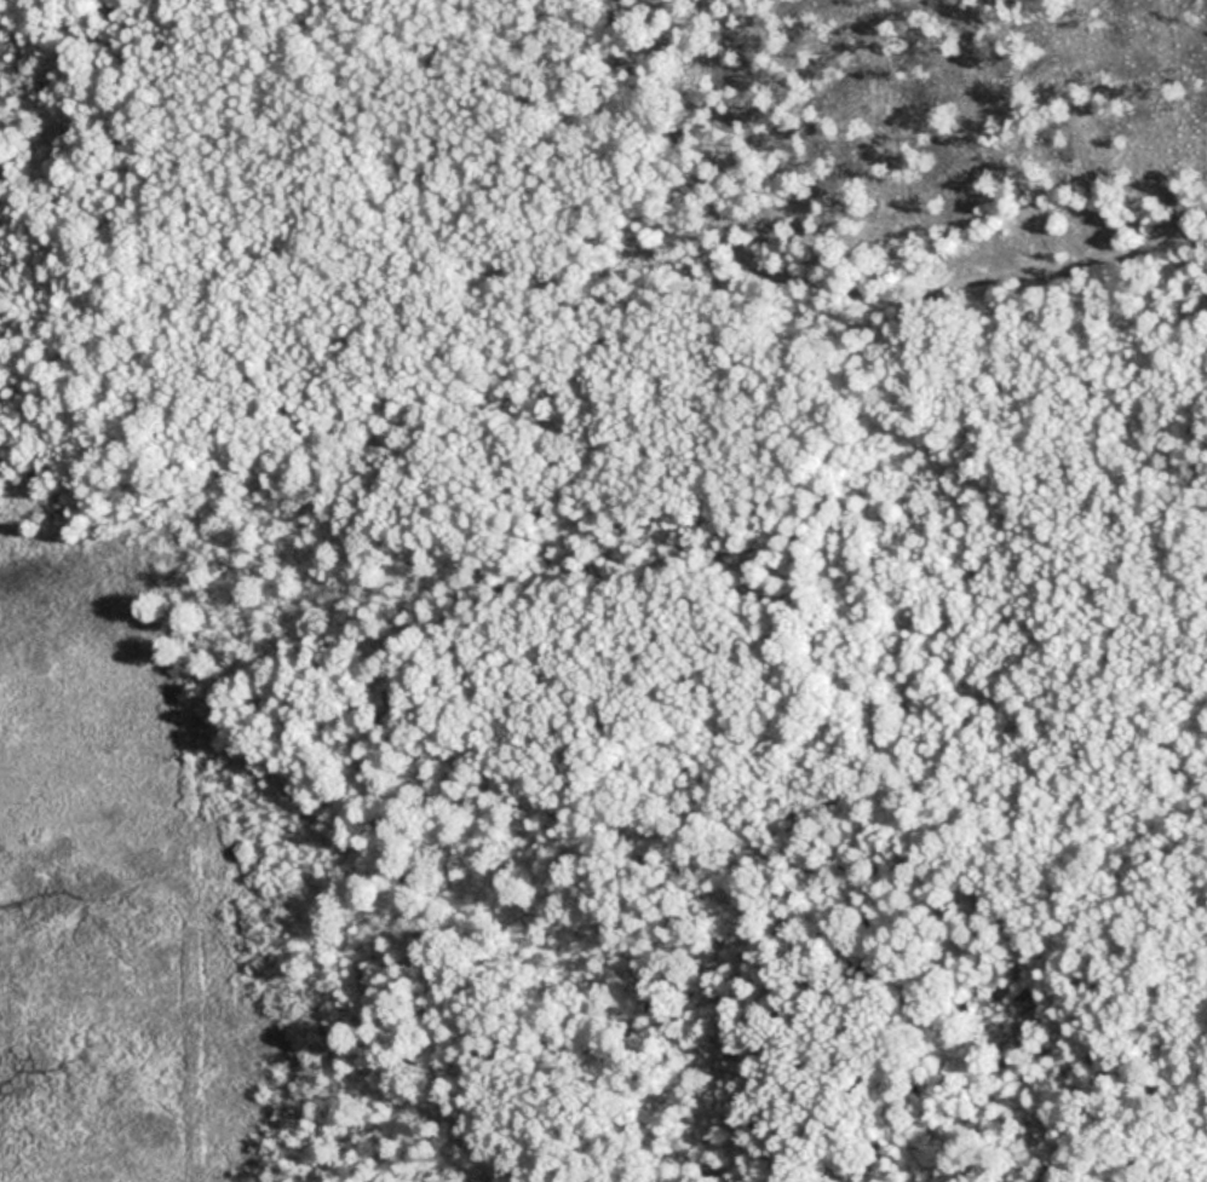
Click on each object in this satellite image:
park: (603, 590)

